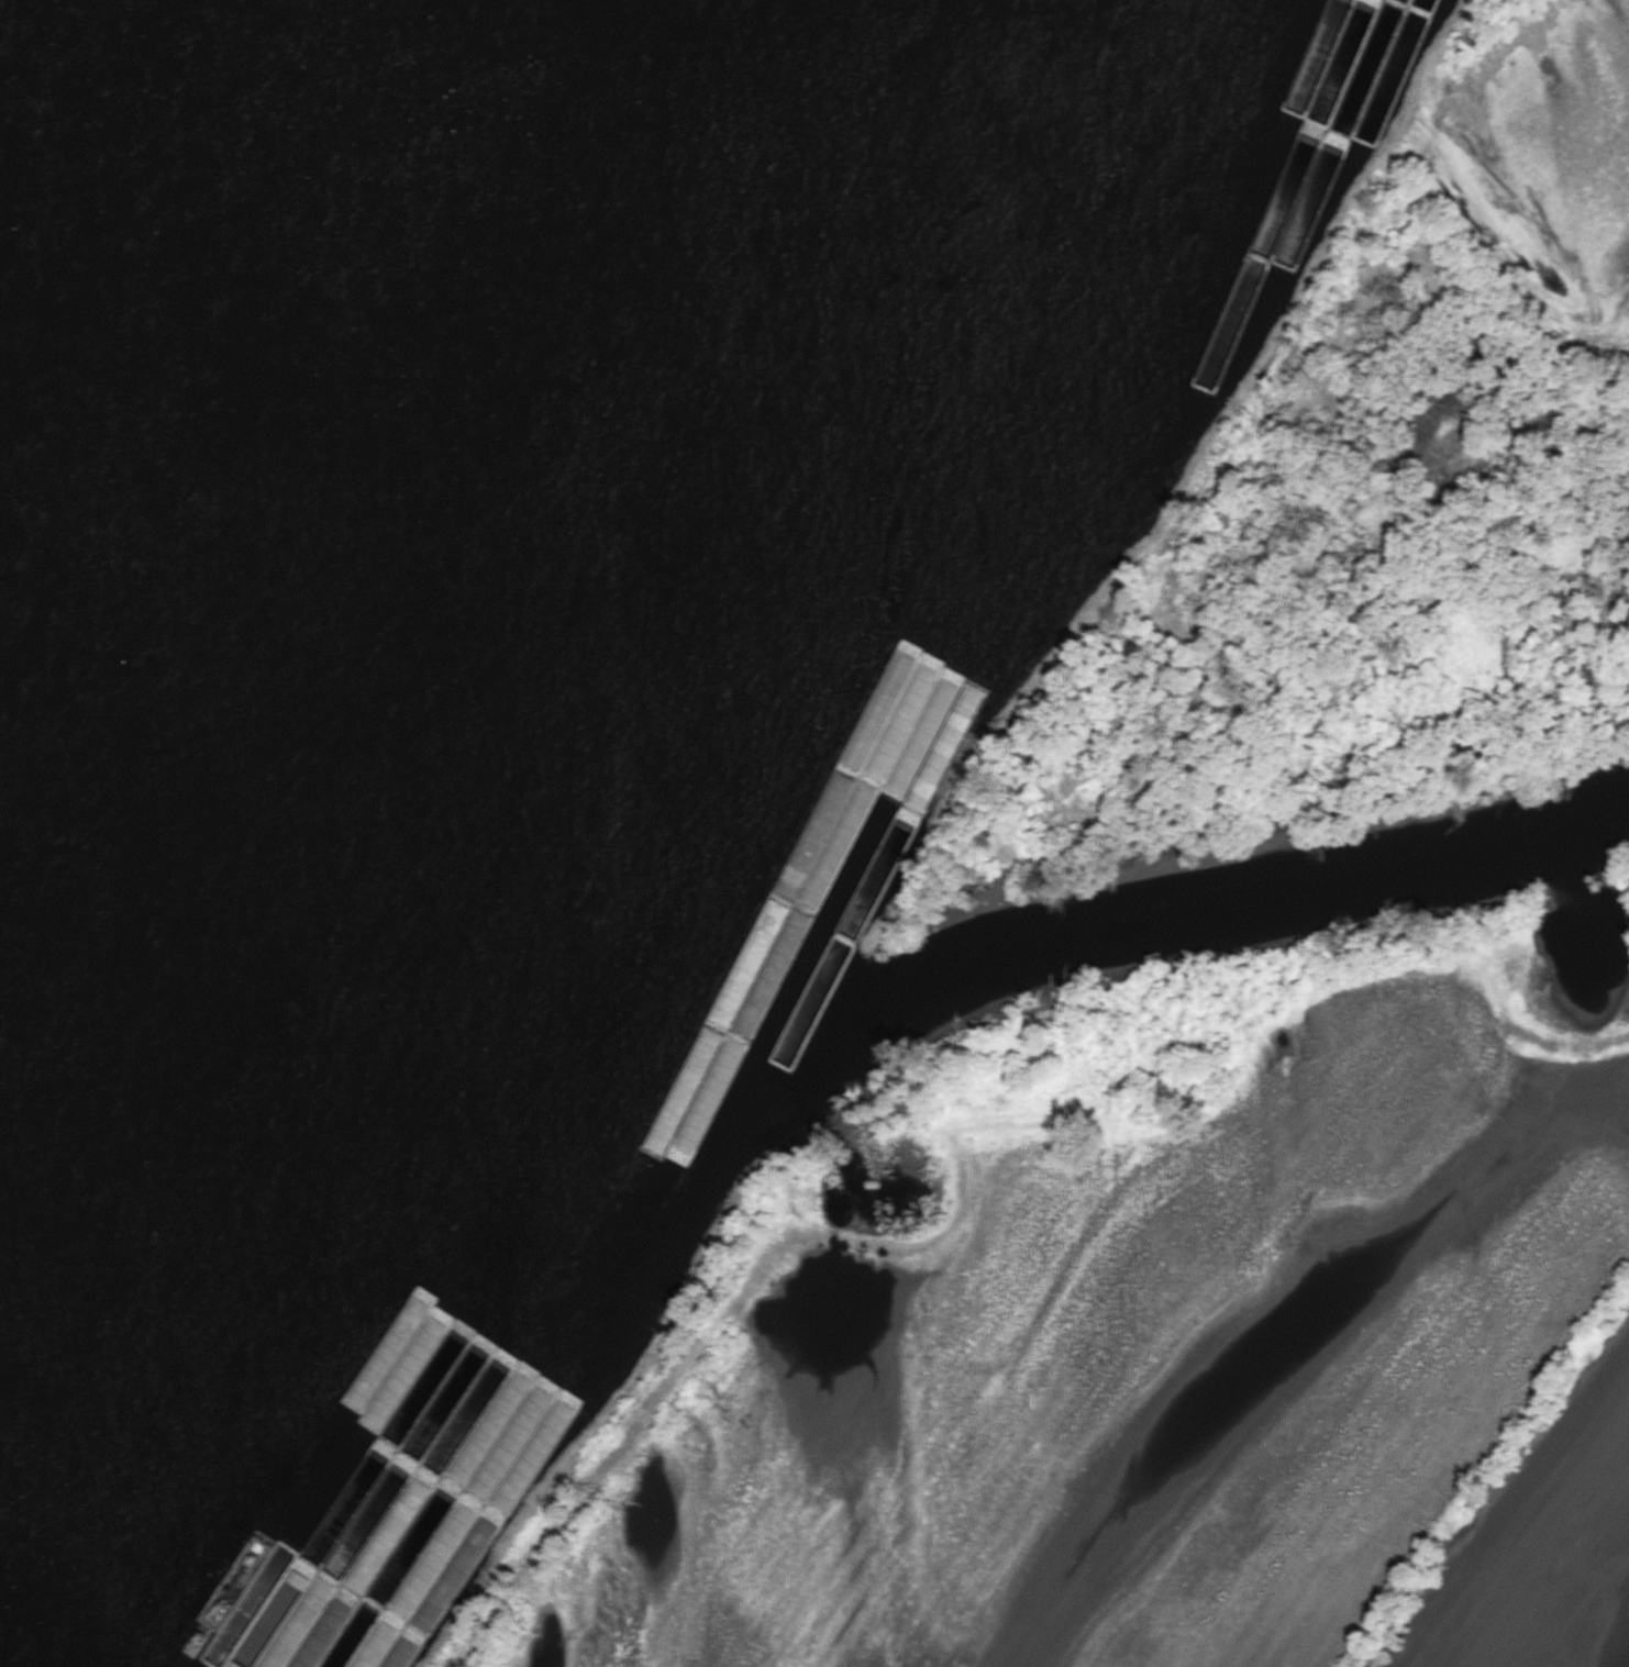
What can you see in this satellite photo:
crop: (1548, 155)
crop: (1171, 1391)
building: (424, 1542)
building: (402, 1605)
building: (370, 1612)
building: (378, 1644)

